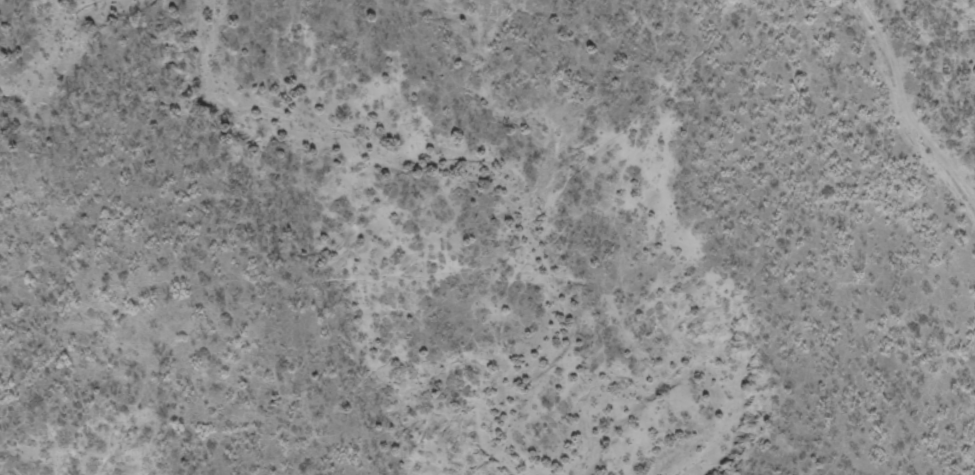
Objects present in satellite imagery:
road: (899, 131)

